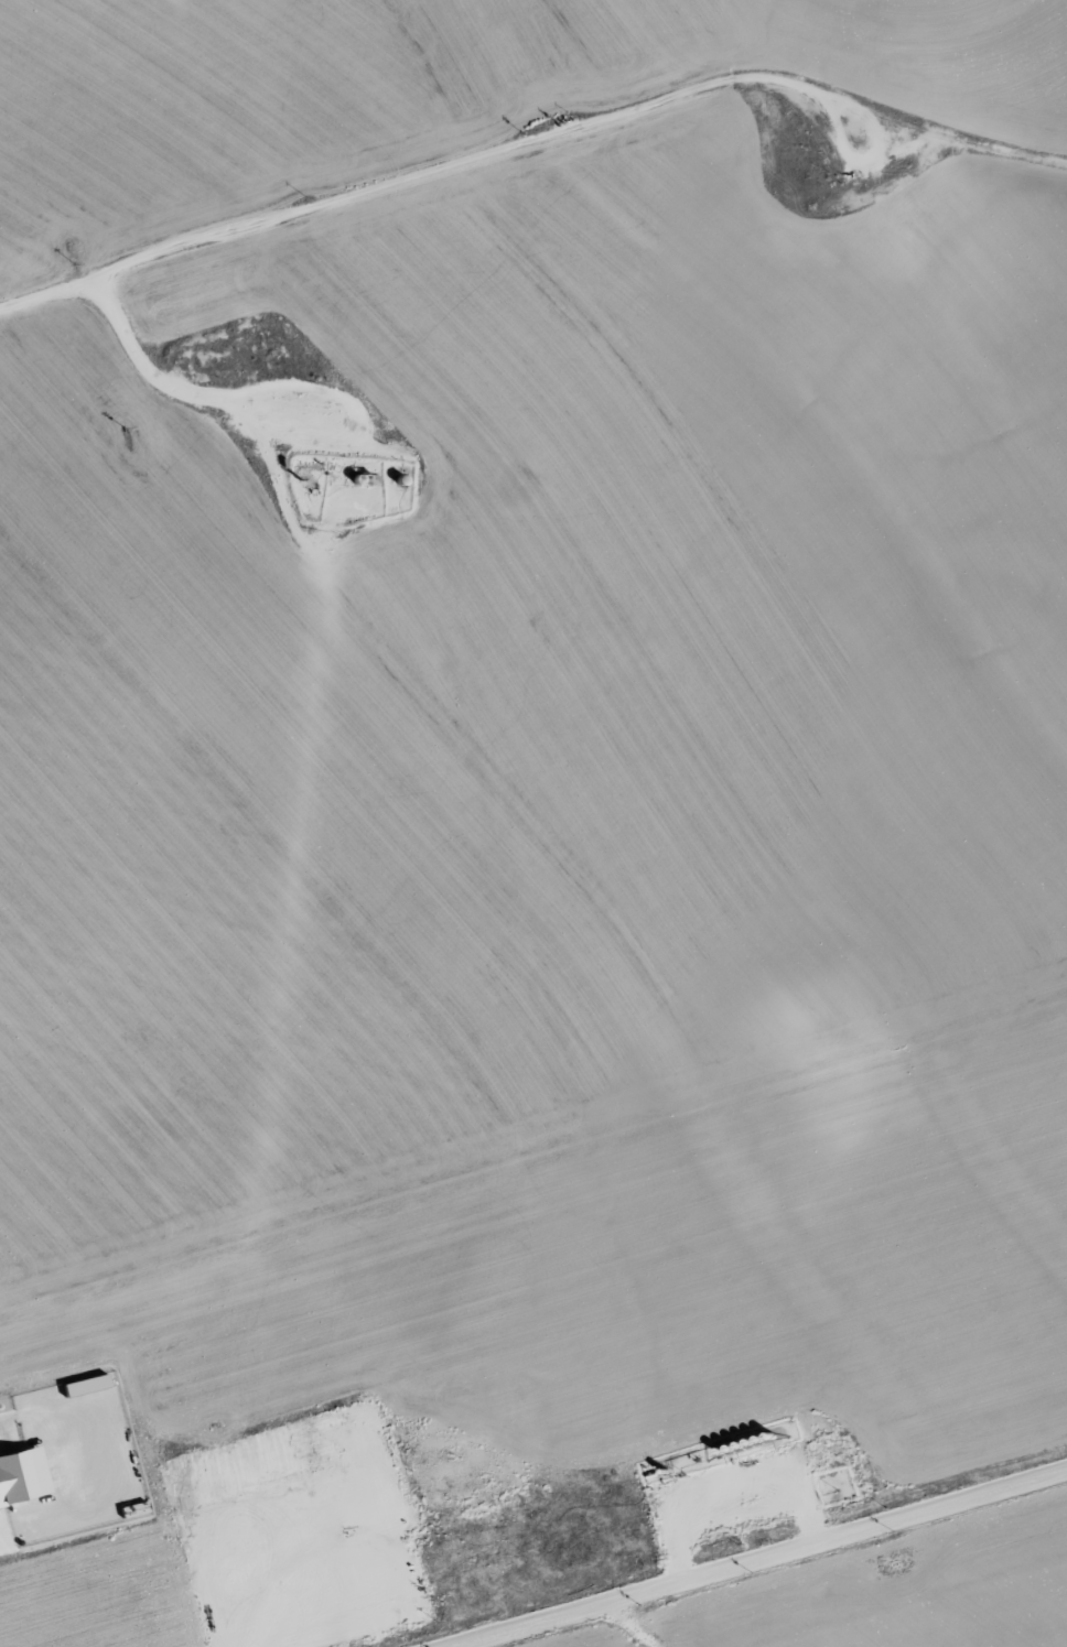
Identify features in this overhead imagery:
building: (366, 479)
building: (398, 479)
road: (766, 1559)

